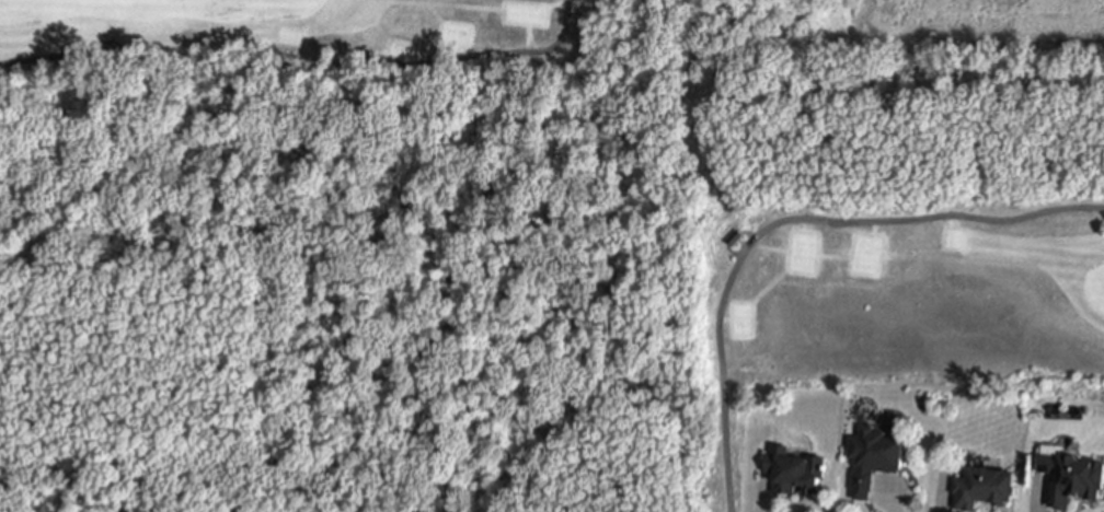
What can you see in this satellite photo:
crop: (948, 36)
park: (355, 39)
road: (301, 51)
road: (784, 220)
building: (736, 235)
park: (920, 300)
building: (873, 455)
building: (795, 467)
building: (1072, 475)
building: (984, 485)

